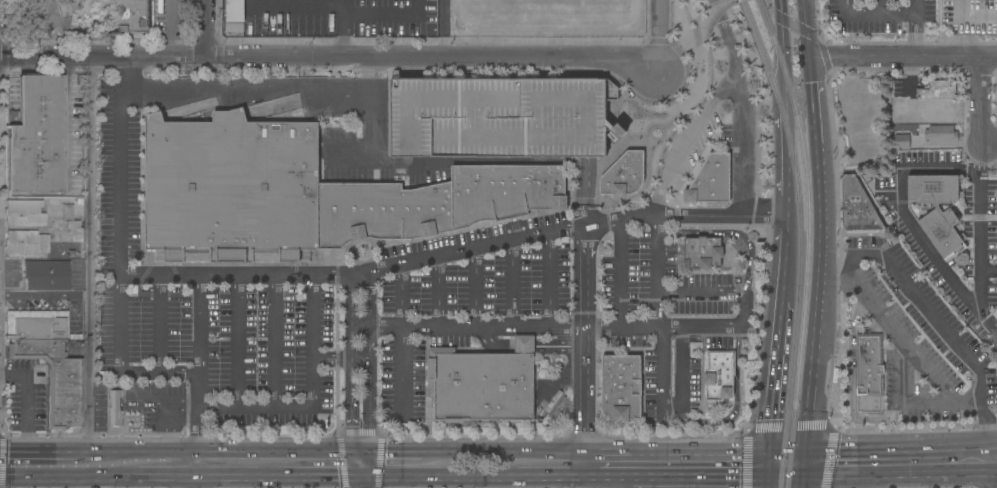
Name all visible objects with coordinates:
parking lot: (698, 3)
road: (880, 8)
road: (915, 8)
building: (235, 11)
building: (47, 14)
building: (131, 16)
road: (386, 16)
road: (873, 16)
building: (970, 16)
parking lot: (970, 16)
road: (972, 16)
parking lot: (884, 18)
road: (706, 19)
road: (341, 20)
road: (646, 20)
road: (790, 22)
road: (168, 28)
road: (206, 28)
building: (234, 29)
road: (806, 29)
road: (658, 32)
road: (915, 35)
road: (341, 40)
road: (962, 45)
road: (342, 49)
road: (784, 49)
road: (219, 54)
road: (903, 55)
road: (328, 58)
traffic signals: (810, 59)
road: (383, 68)
building: (938, 89)
road: (318, 91)
road: (814, 103)
road: (741, 105)
building: (941, 108)
road: (980, 113)
building: (501, 117)
building: (918, 117)
parking lot: (493, 119)
building: (941, 133)
building: (34, 135)
road: (685, 138)
building: (900, 141)
road: (989, 142)
parking lot: (689, 144)
road: (787, 156)
road: (350, 163)
road: (120, 166)
building: (624, 175)
building: (711, 180)
road: (650, 182)
building: (231, 189)
building: (436, 203)
building: (856, 207)
building: (937, 209)
building: (24, 212)
road: (764, 214)
parking lot: (979, 214)
road: (900, 215)
road: (729, 233)
road: (767, 234)
railway: (798, 240)
railway: (807, 240)
building: (25, 243)
road: (837, 243)
building: (703, 252)
road: (983, 253)
road: (786, 254)
road: (91, 257)
road: (431, 258)
road: (0, 263)
road: (658, 271)
road: (620, 273)
building: (47, 274)
road: (990, 274)
road: (550, 279)
road: (511, 283)
road: (475, 287)
road: (438, 292)
road: (720, 294)
parking lot: (563, 299)
road: (818, 299)
road: (585, 306)
parking lot: (207, 307)
road: (939, 322)
road: (160, 323)
building: (35, 324)
road: (552, 328)
road: (402, 338)
road: (239, 340)
road: (900, 340)
road: (276, 341)
building: (618, 341)
parking lot: (923, 342)
road: (338, 357)
road: (119, 364)
building: (868, 364)
road: (361, 365)
road: (200, 367)
road: (660, 370)
road: (777, 374)
building: (719, 375)
building: (54, 379)
road: (852, 382)
building: (483, 383)
building: (996, 383)
building: (621, 387)
road: (133, 389)
parking lot: (27, 395)
road: (315, 399)
road: (902, 400)
road: (28, 402)
road: (99, 404)
road: (148, 404)
road: (185, 404)
building: (115, 408)
road: (709, 428)
road: (171, 431)
road: (416, 436)
road: (992, 444)
road: (970, 445)
road: (879, 447)
traffic signals: (807, 451)
road: (787, 452)
traffic signals: (768, 453)
road: (607, 454)
road: (433, 456)
road: (55, 457)
road: (281, 457)
traffic signals: (364, 457)
road: (392, 457)
road: (155, 458)
road: (341, 460)
road: (379, 460)
road: (805, 463)
road: (766, 466)
road: (993, 466)
road: (364, 469)
road: (195, 472)
road: (996, 472)
road: (899, 474)
traffic signals: (804, 476)
road: (784, 478)
traffic signals: (765, 479)
road: (695, 480)
road: (237, 481)
road: (322, 481)
road: (606, 481)
road: (906, 481)
road: (68, 482)
road: (165, 482)
traffic signals: (364, 482)
road: (380, 482)
road: (454, 482)
road: (549, 482)
road: (803, 482)
road: (765, 483)
road: (626, 484)
road: (102, 485)
road: (234, 485)
road: (364, 485)
road: (397, 485)
road: (553, 485)

